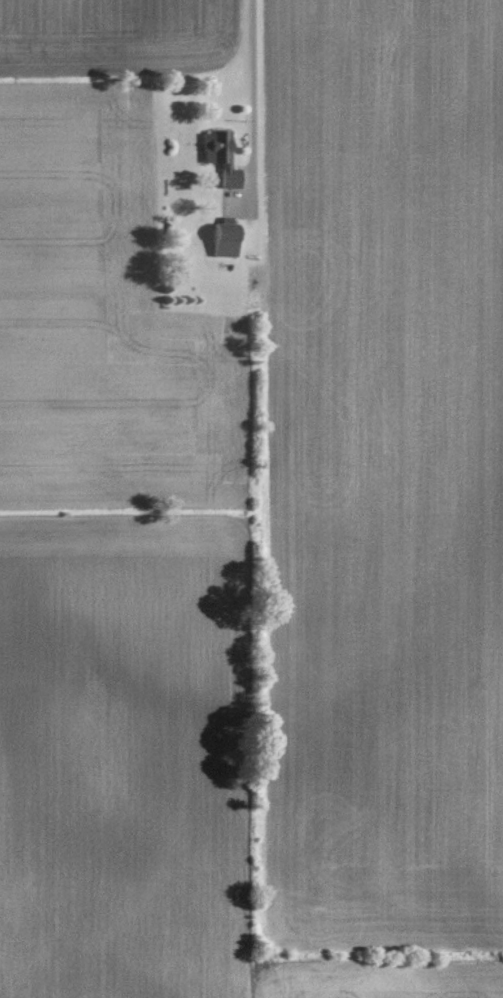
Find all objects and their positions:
road: (258, 78)
building: (226, 158)
building: (227, 237)

